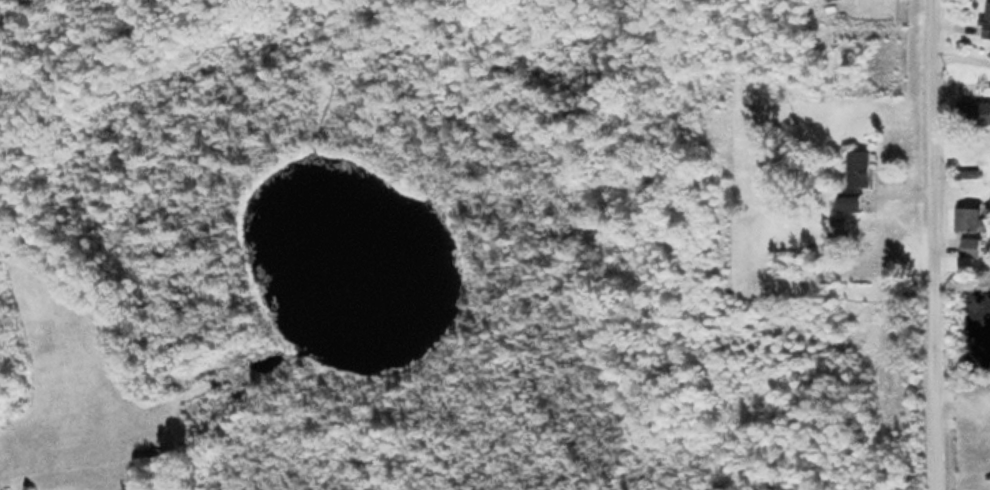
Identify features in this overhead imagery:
building: (988, 24)
building: (974, 110)
building: (863, 167)
building: (854, 202)
building: (969, 218)
road: (941, 245)
building: (971, 246)

